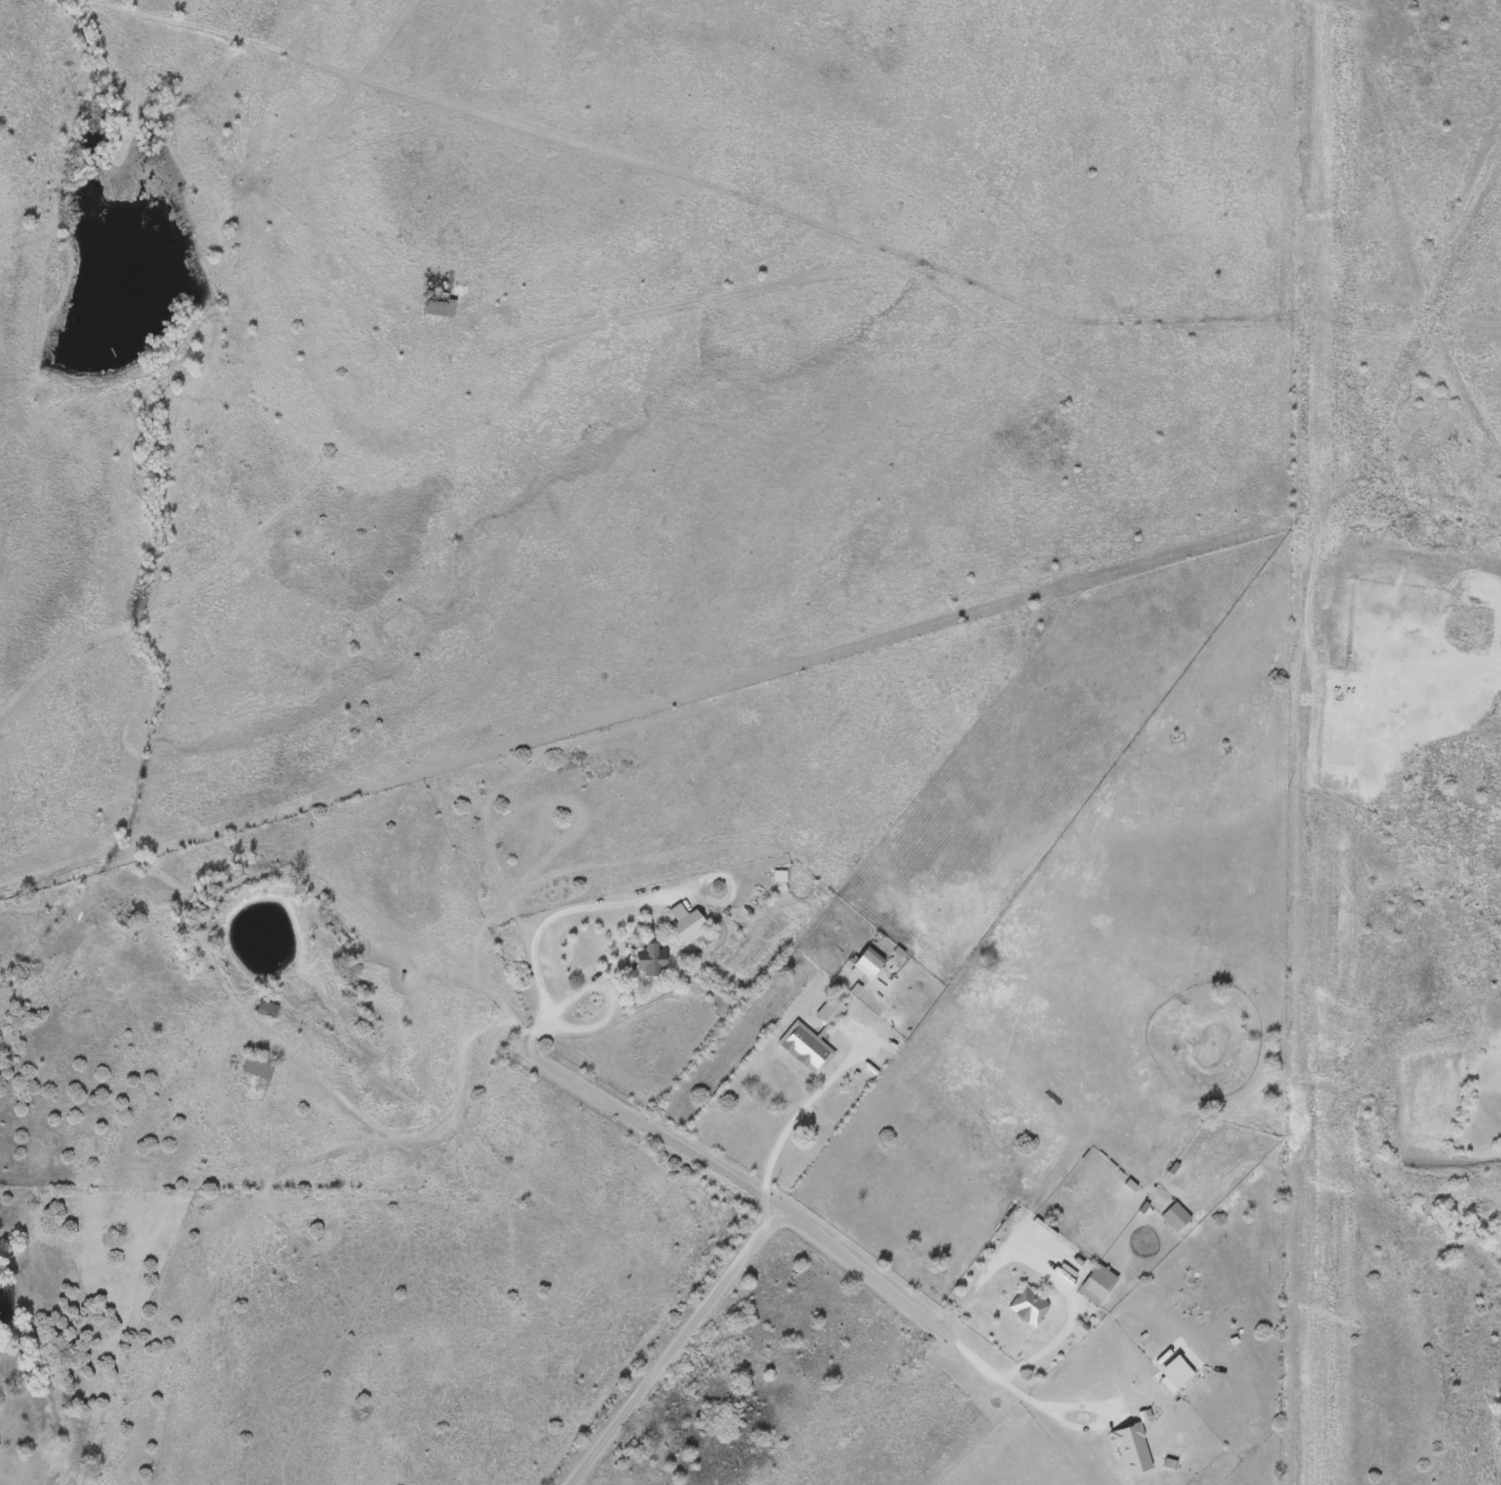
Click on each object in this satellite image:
building: (439, 303)
road: (1498, 659)
road: (555, 912)
building: (690, 926)
building: (652, 957)
building: (869, 962)
road: (599, 982)
building: (267, 1008)
building: (830, 1010)
building: (805, 1046)
building: (259, 1065)
road: (811, 1094)
road: (420, 1132)
road: (738, 1182)
building: (1176, 1215)
road: (1047, 1269)
building: (1098, 1283)
building: (1029, 1305)
road: (673, 1347)
road: (1046, 1400)
building: (1132, 1448)

